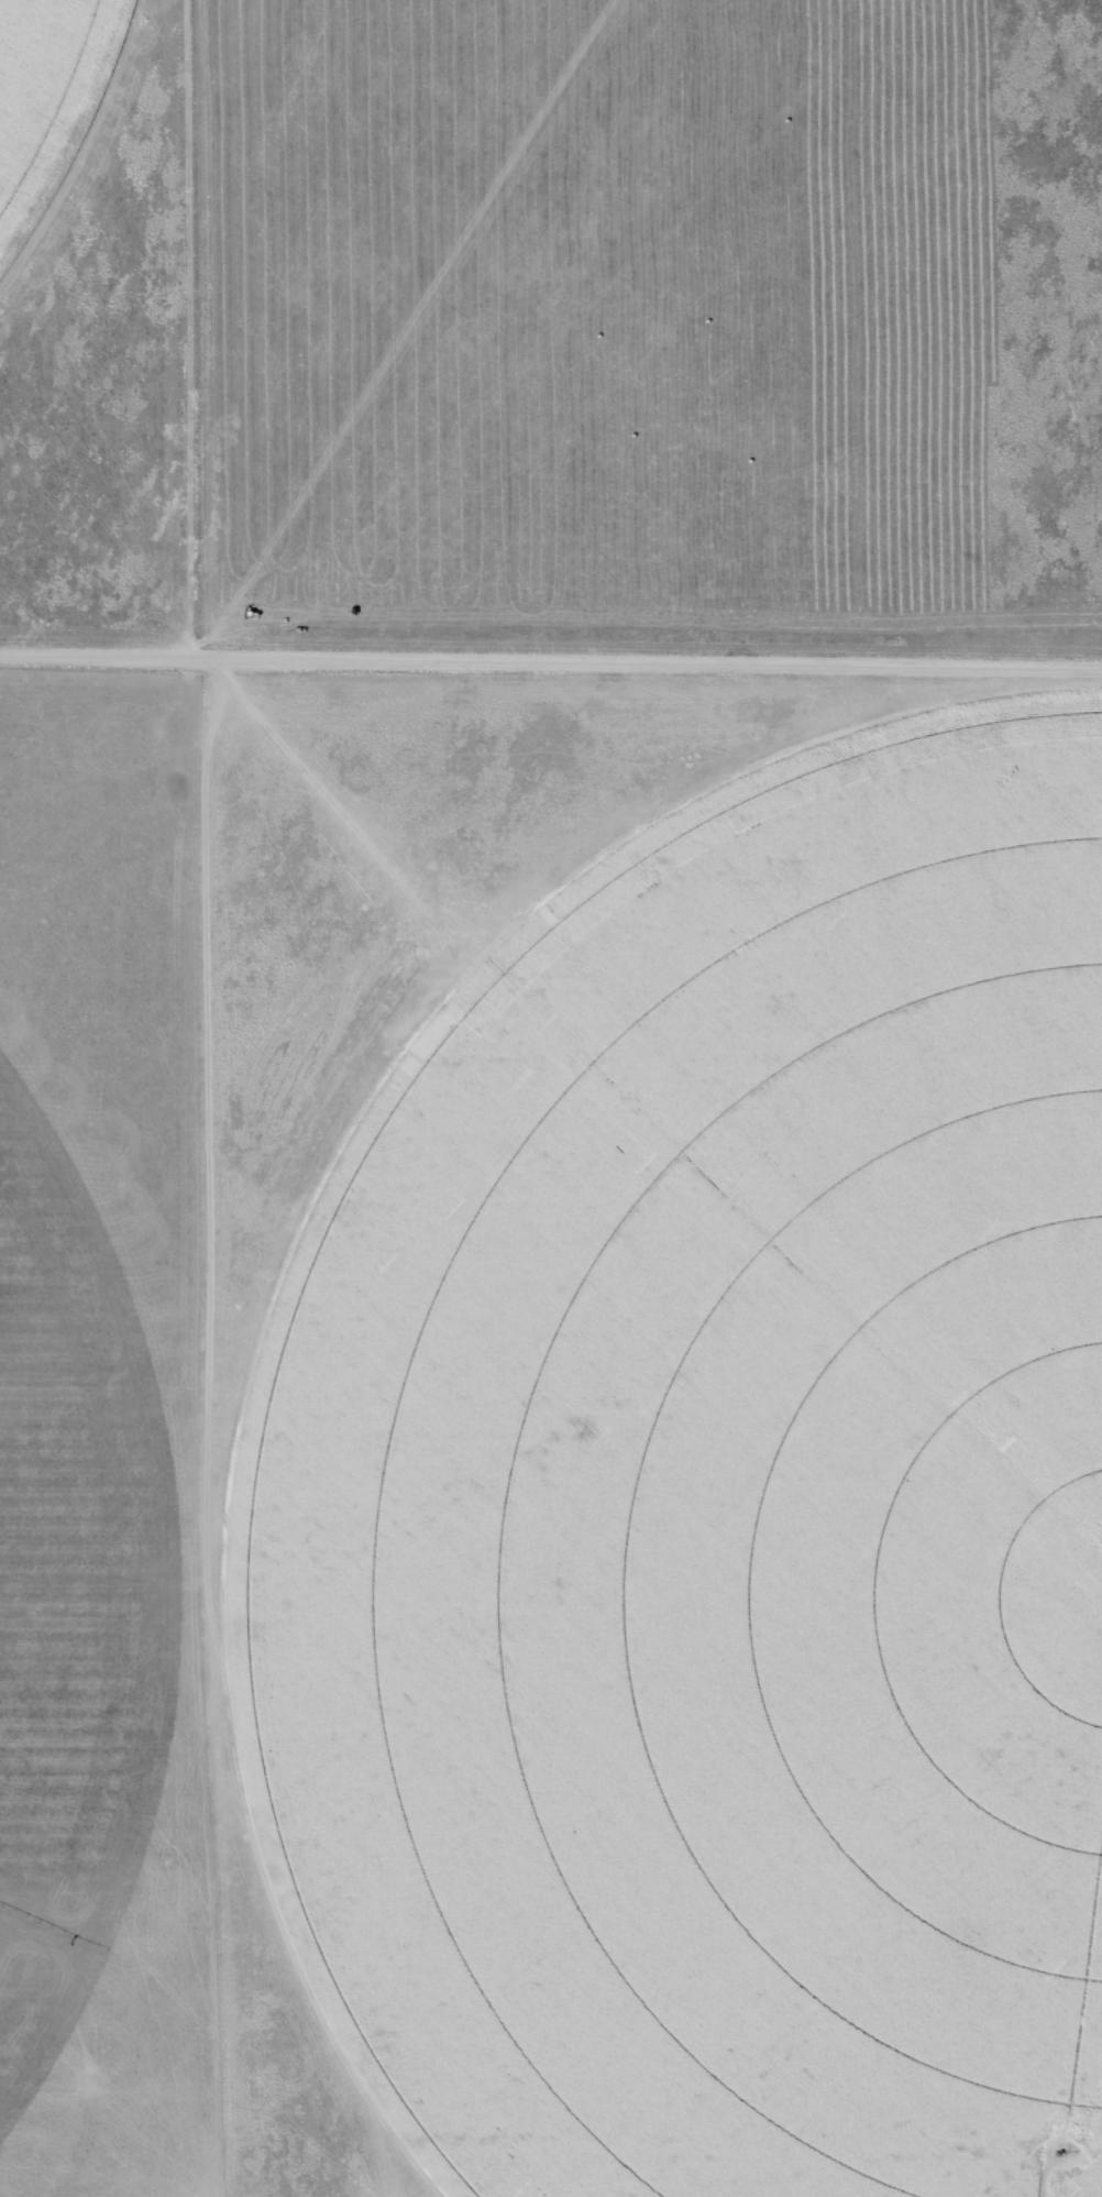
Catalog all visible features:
road: (551, 700)

